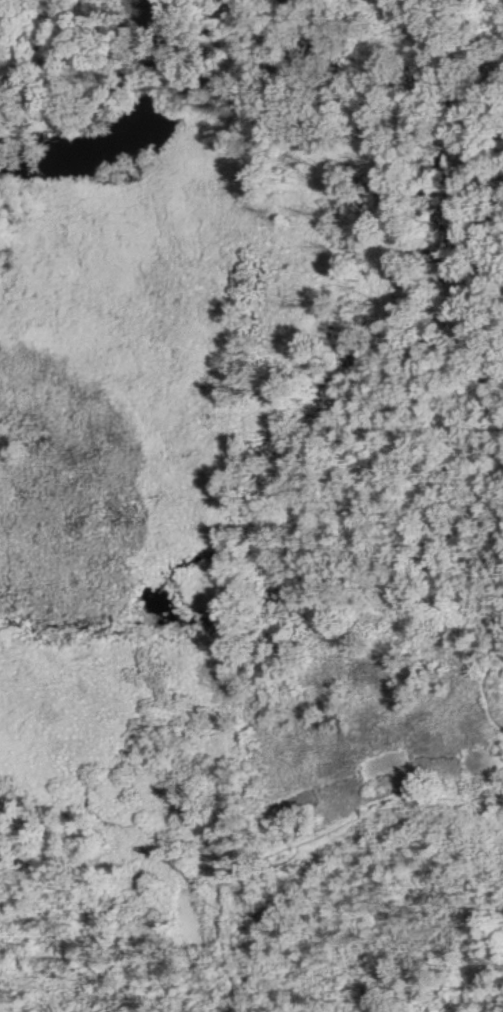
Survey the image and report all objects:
river: (132, 133)
road: (490, 671)
road: (492, 792)
road: (300, 839)
road: (199, 895)

